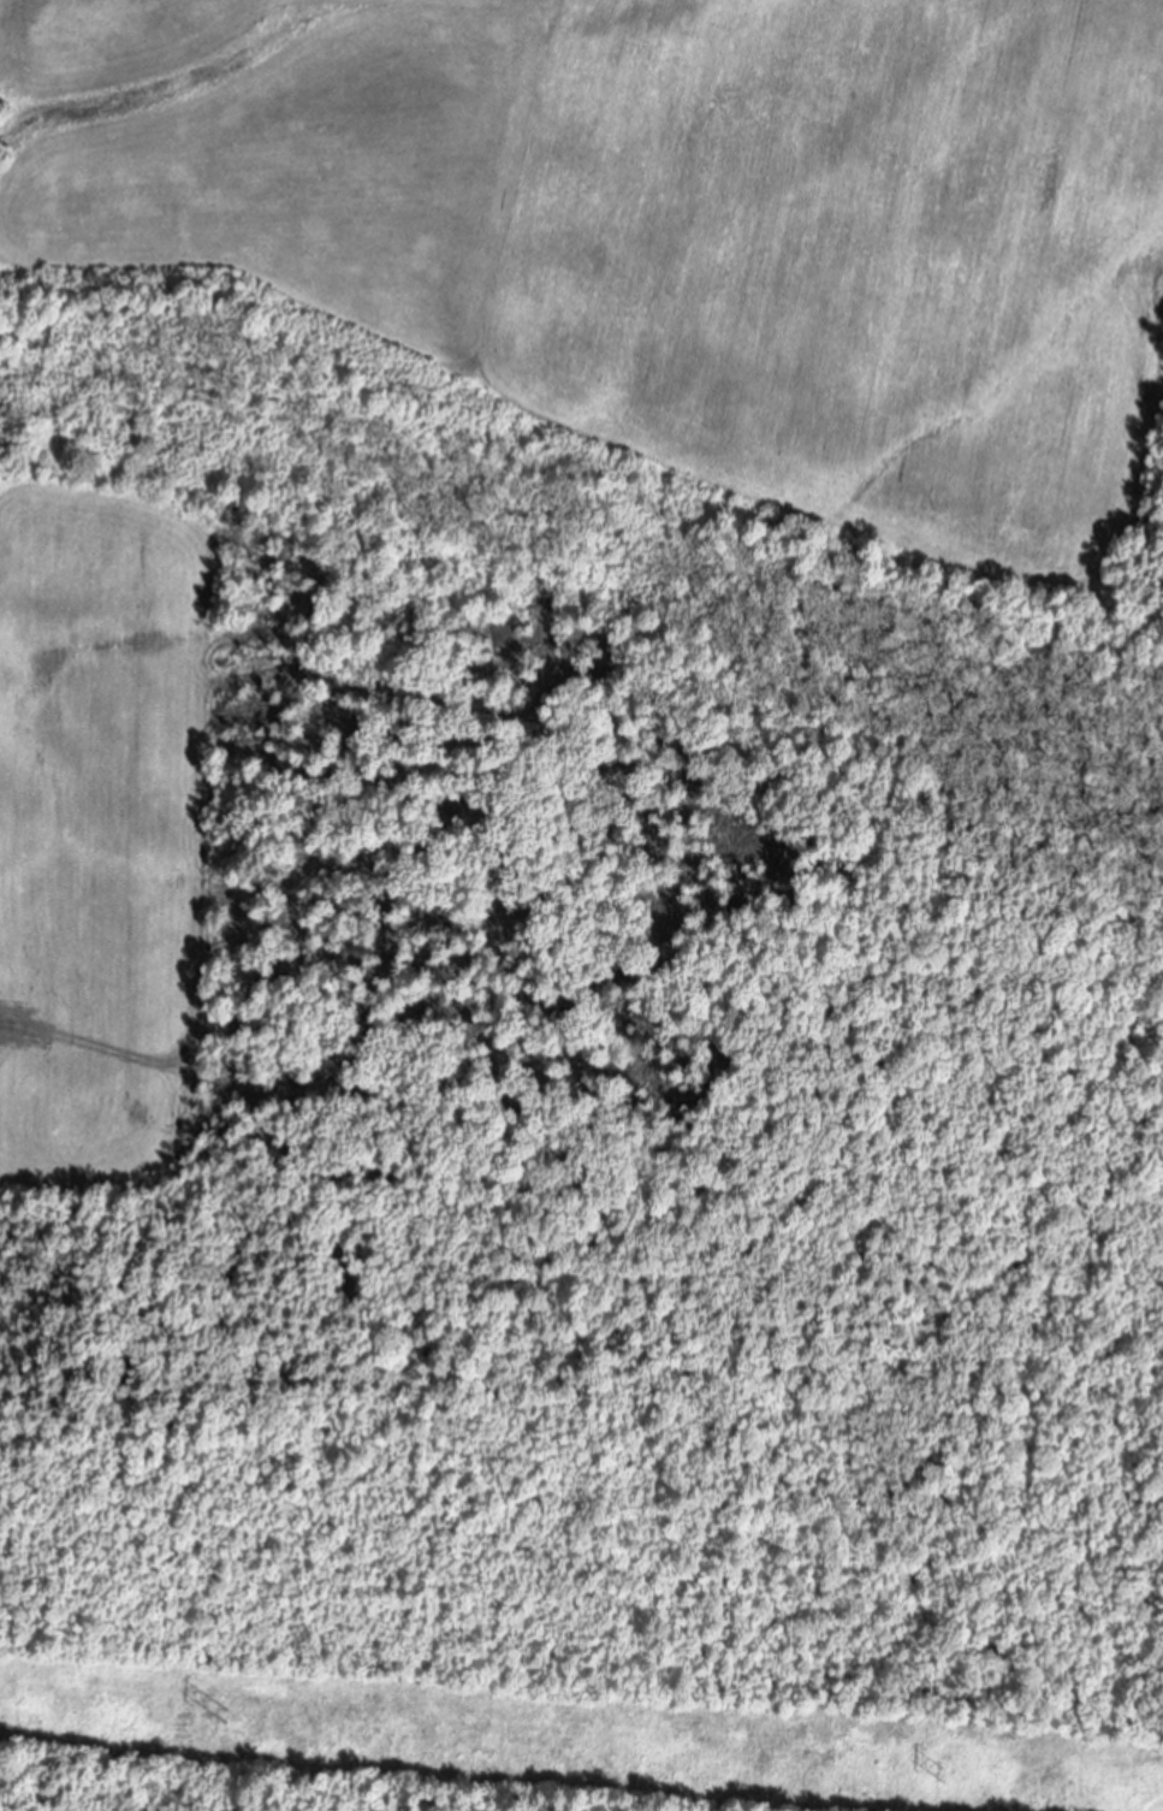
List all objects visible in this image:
power tower: (227, 1720)
power tower: (941, 1779)

